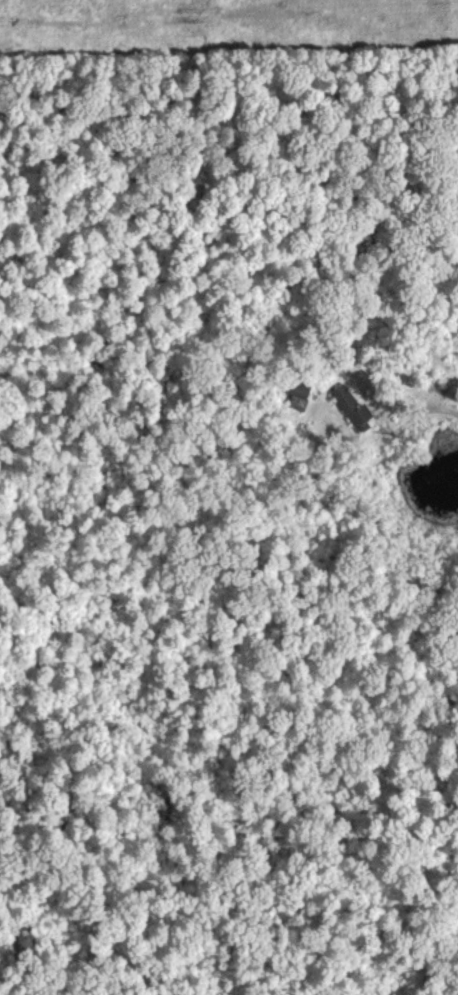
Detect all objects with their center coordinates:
building: (297, 406)
building: (353, 419)

